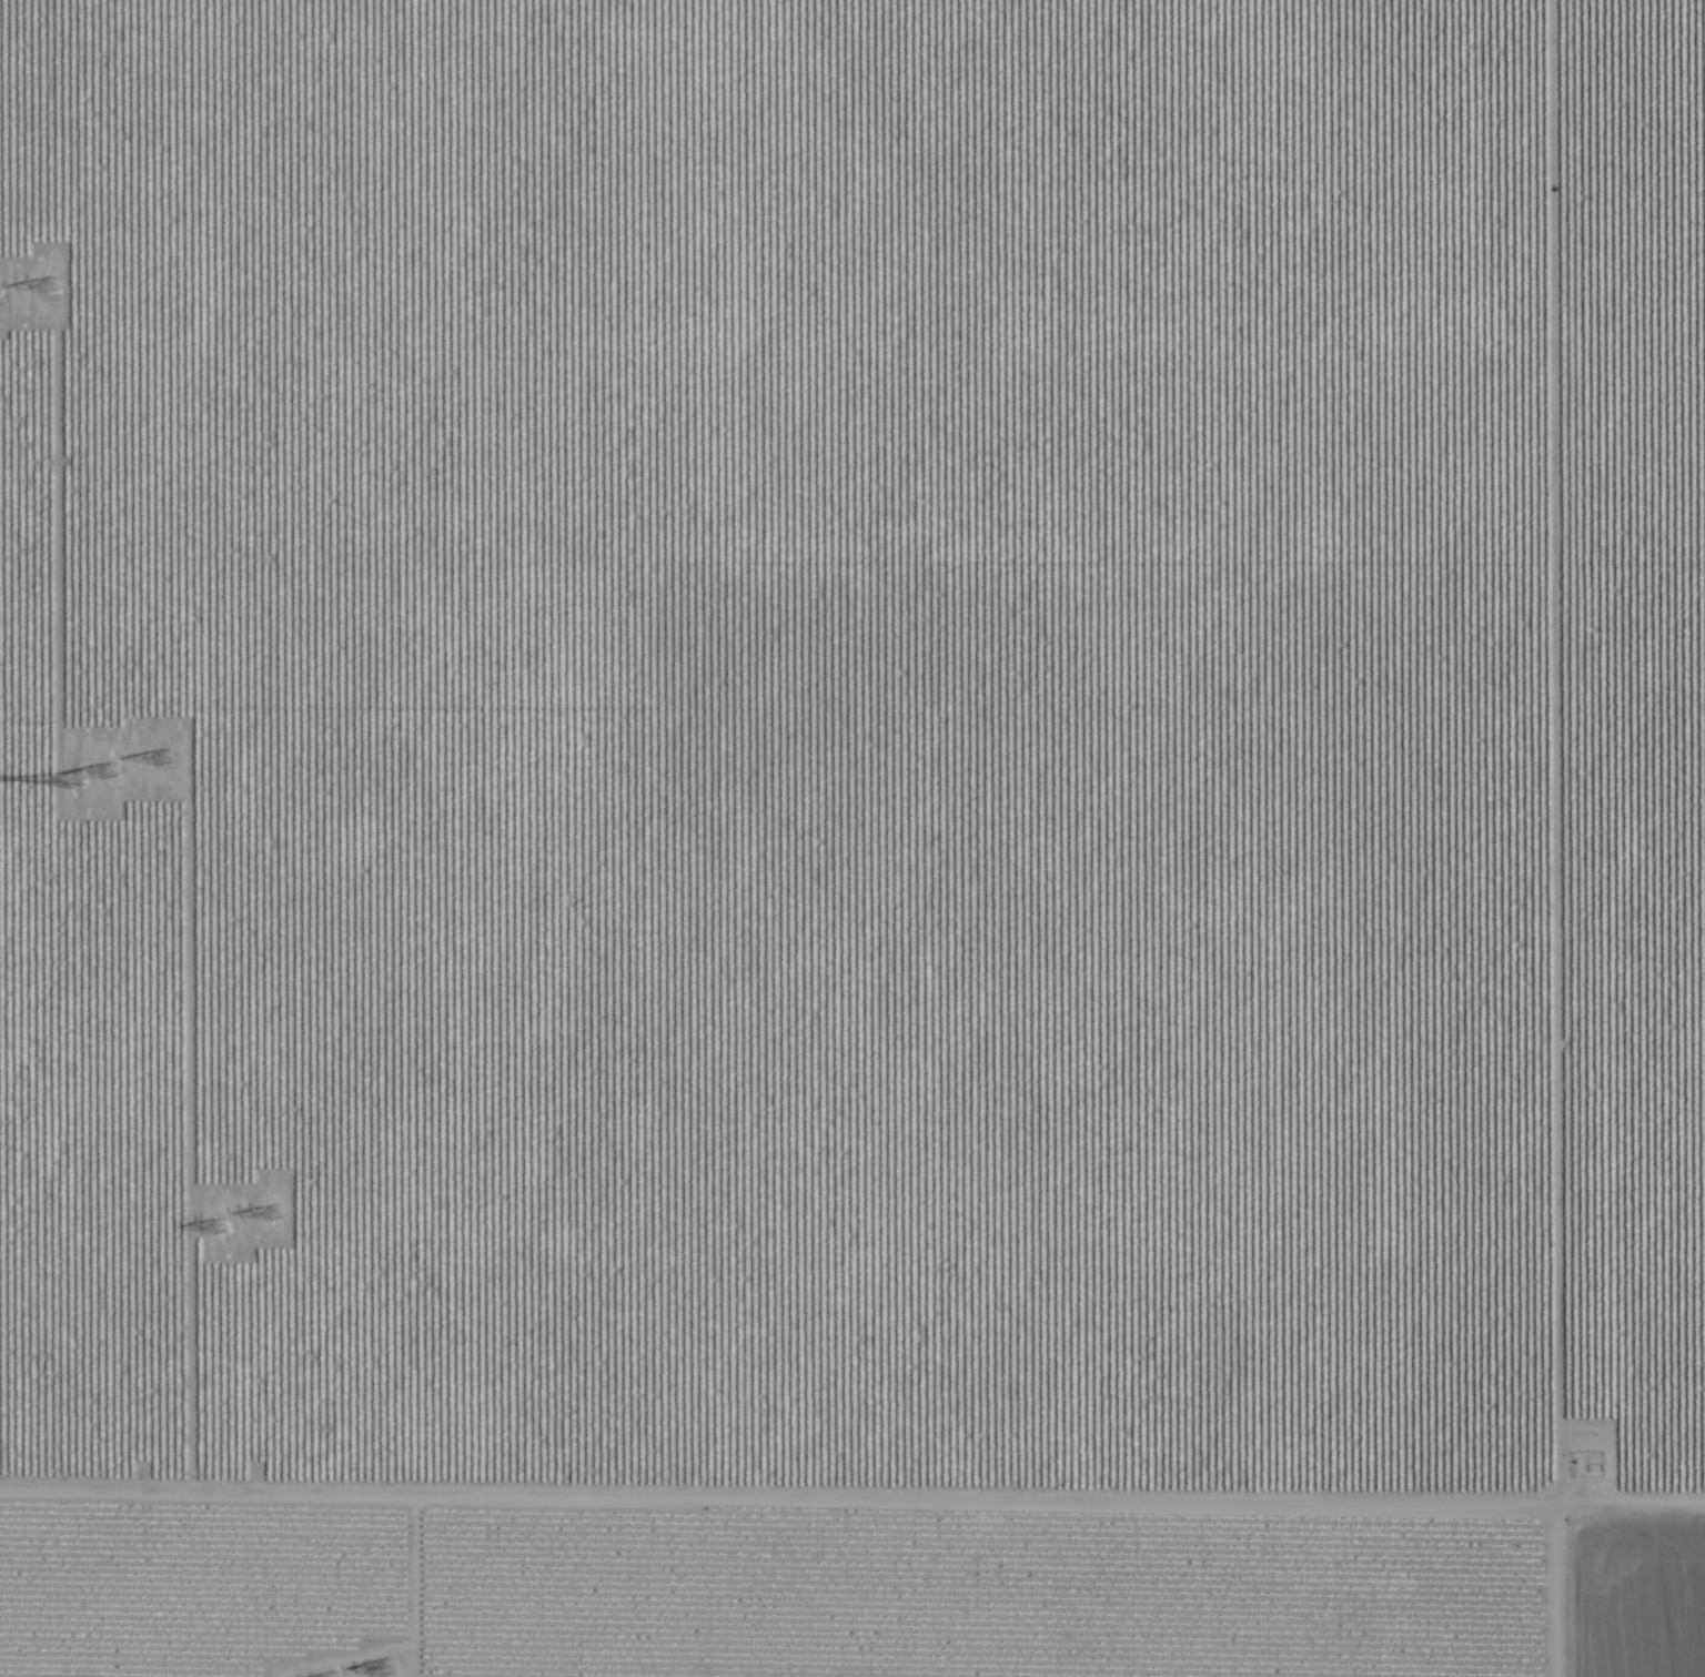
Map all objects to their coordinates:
power tower: (50, 281)
power tower: (168, 759)
power tower: (113, 777)
power tower: (77, 785)
crop: (852, 838)
power tower: (272, 1215)
power tower: (218, 1232)
wastewater plant: (7, 1358)
wastewater plant: (1656, 1390)
road: (852, 1466)
wastewater plant: (1523, 1566)
power tower: (385, 1668)

